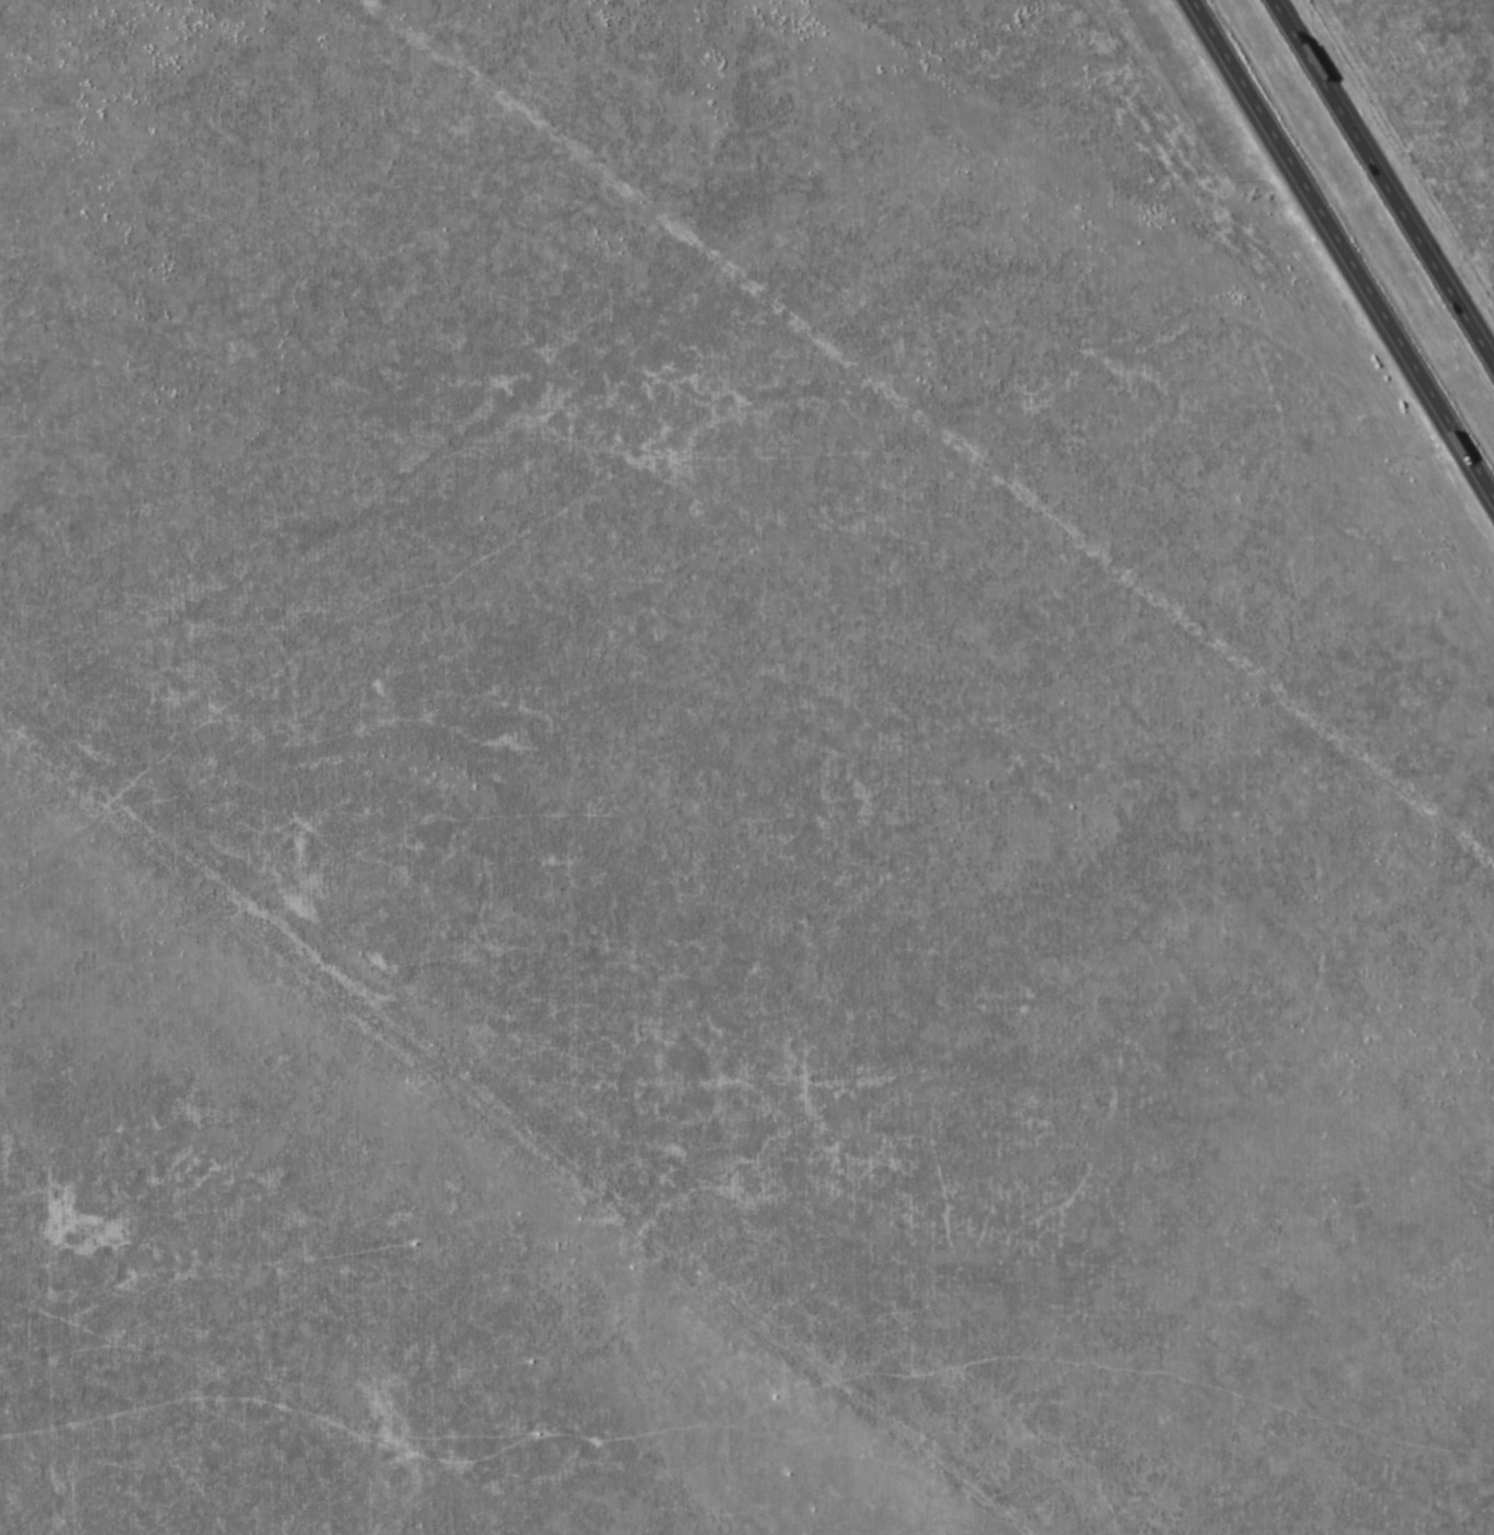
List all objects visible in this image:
road: (1384, 181)
road: (1346, 242)

